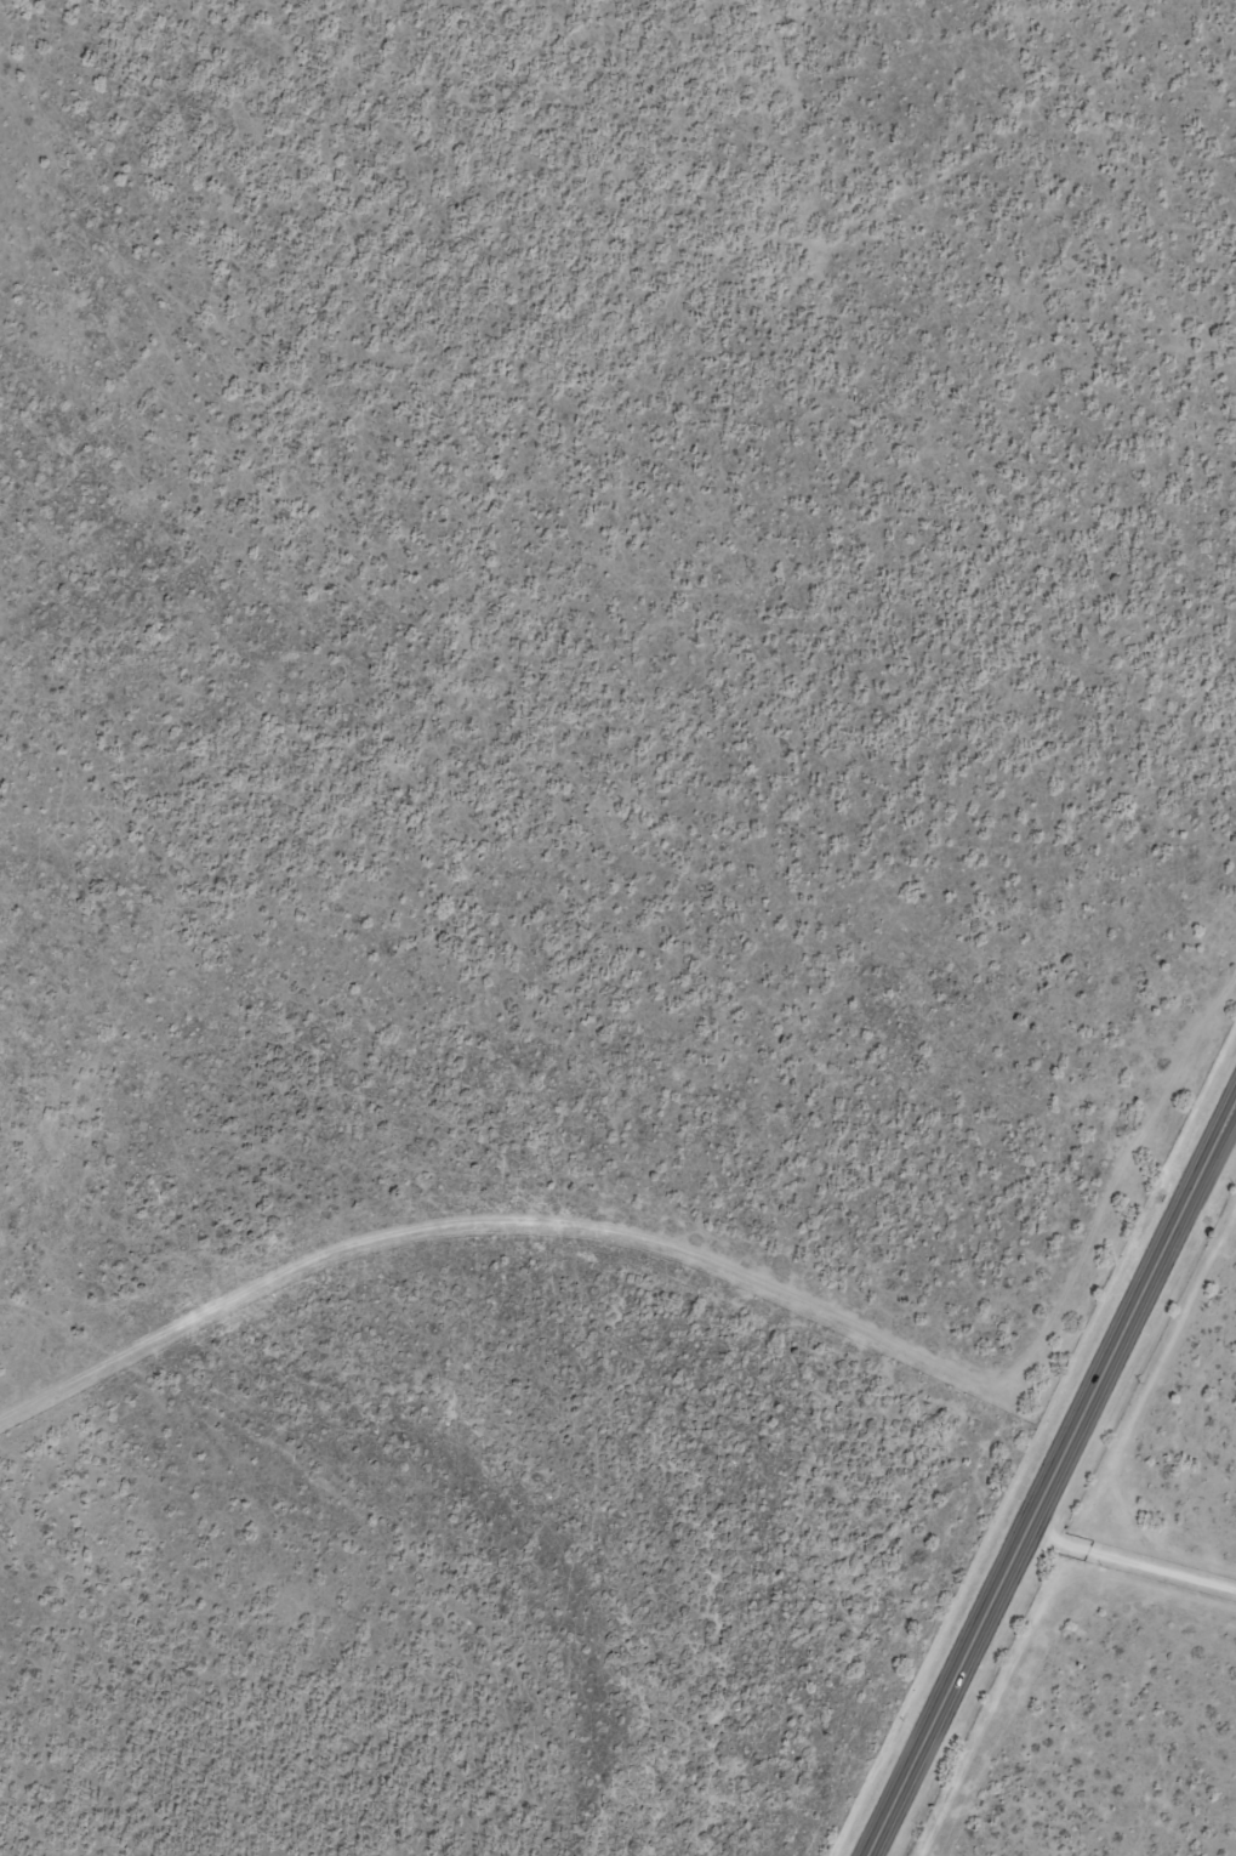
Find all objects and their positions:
road: (1056, 1489)

